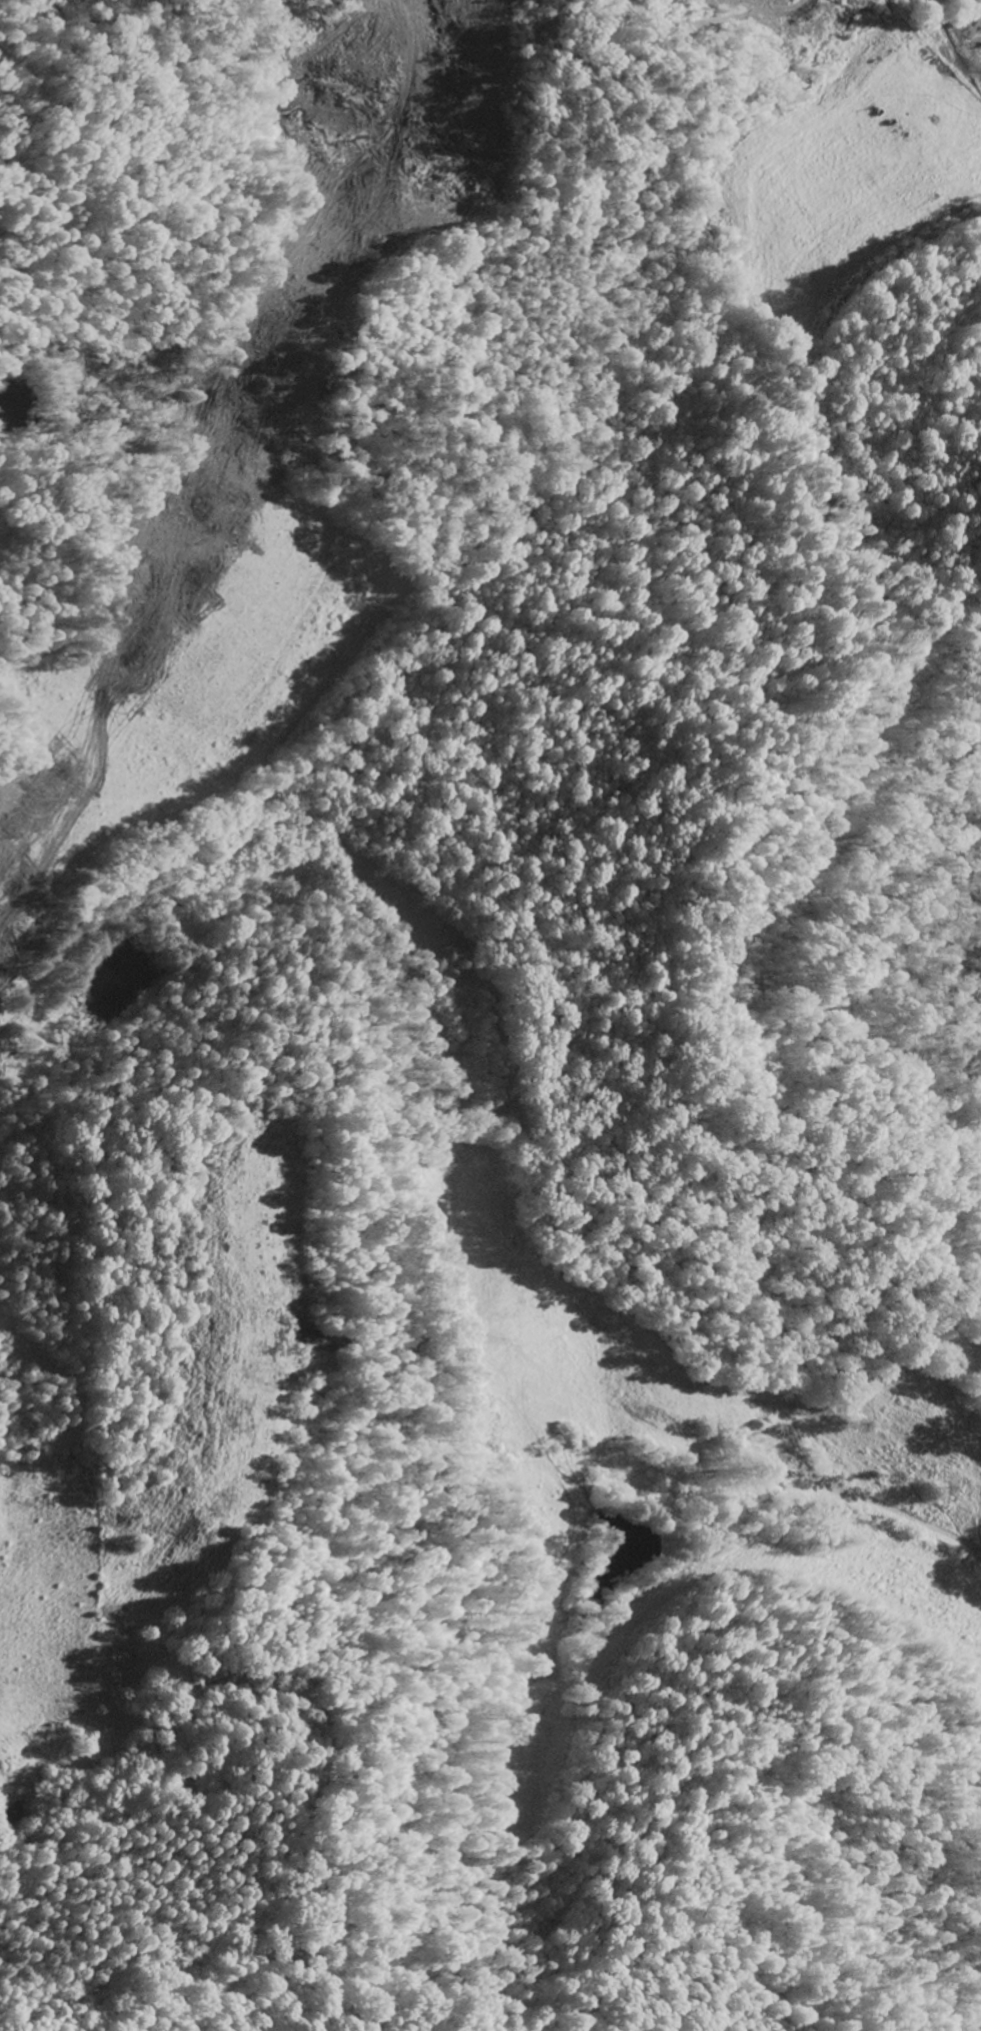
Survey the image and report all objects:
road: (670, 292)
road: (278, 498)
road: (177, 651)
road: (818, 1883)

